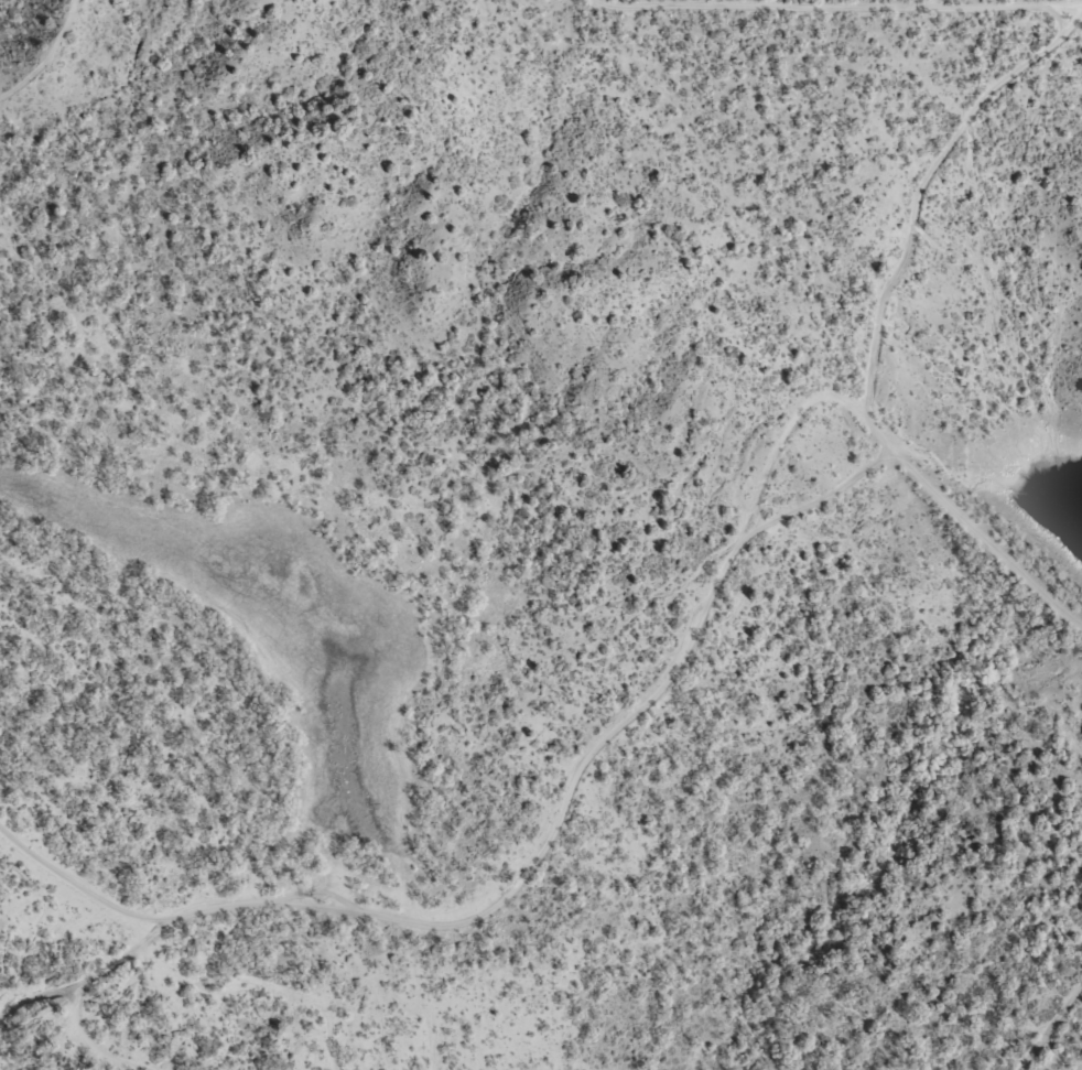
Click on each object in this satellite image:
road: (643, 720)
road: (411, 1036)

